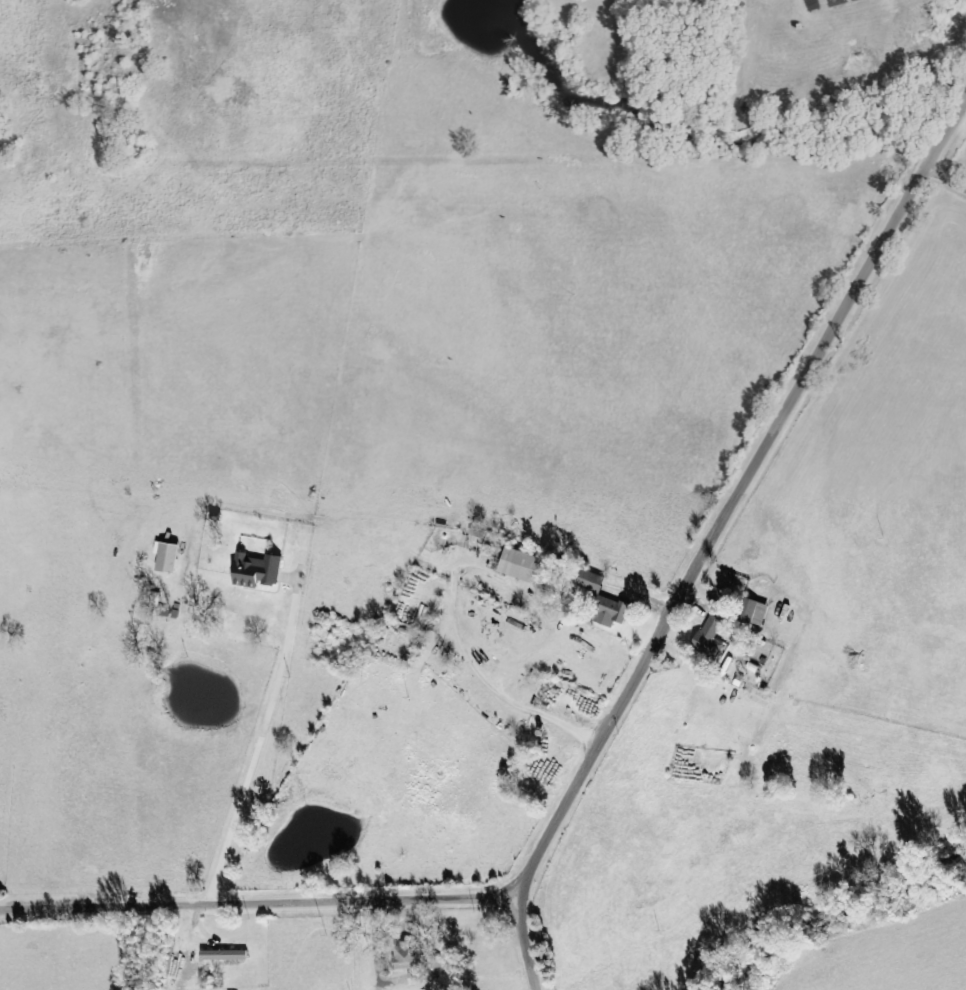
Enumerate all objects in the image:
road: (945, 181)
road: (716, 537)
building: (169, 556)
building: (522, 564)
building: (259, 570)
building: (594, 582)
building: (612, 611)
building: (754, 611)
building: (711, 638)
road: (260, 903)
building: (226, 955)
building: (410, 956)
building: (416, 978)

